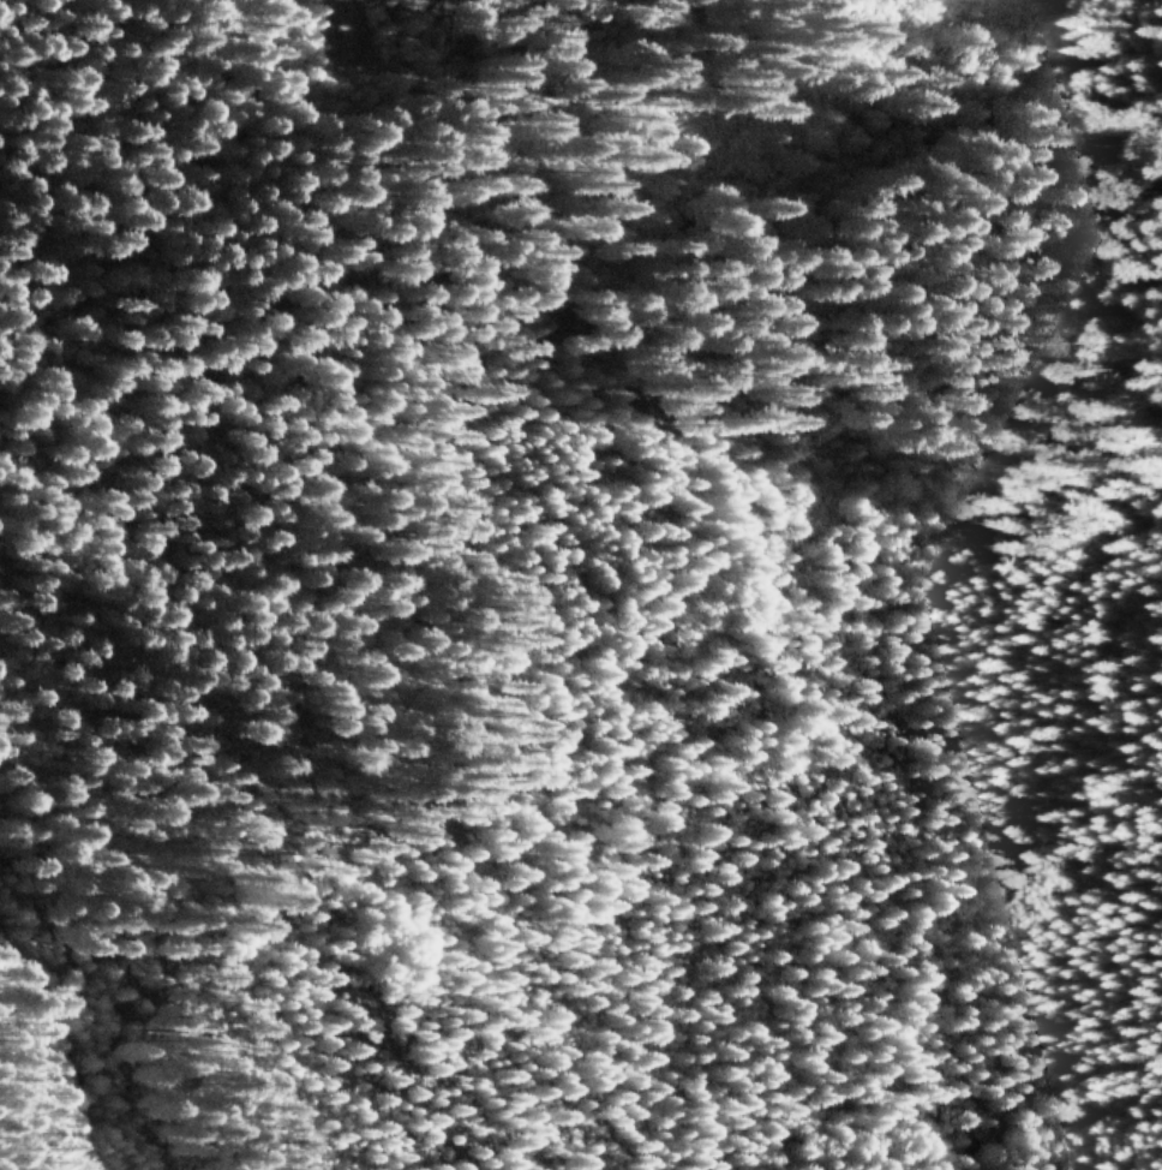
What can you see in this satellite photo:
road: (369, 31)

